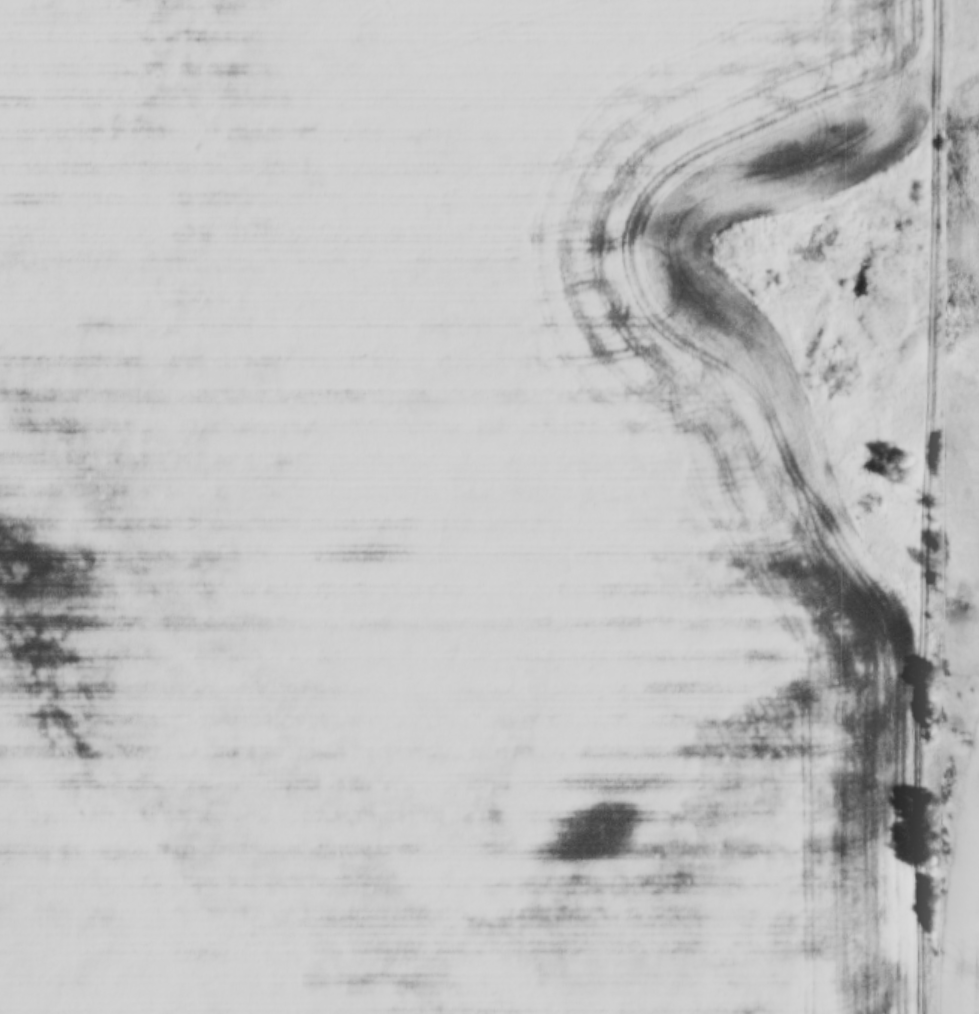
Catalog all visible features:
road: (924, 506)

